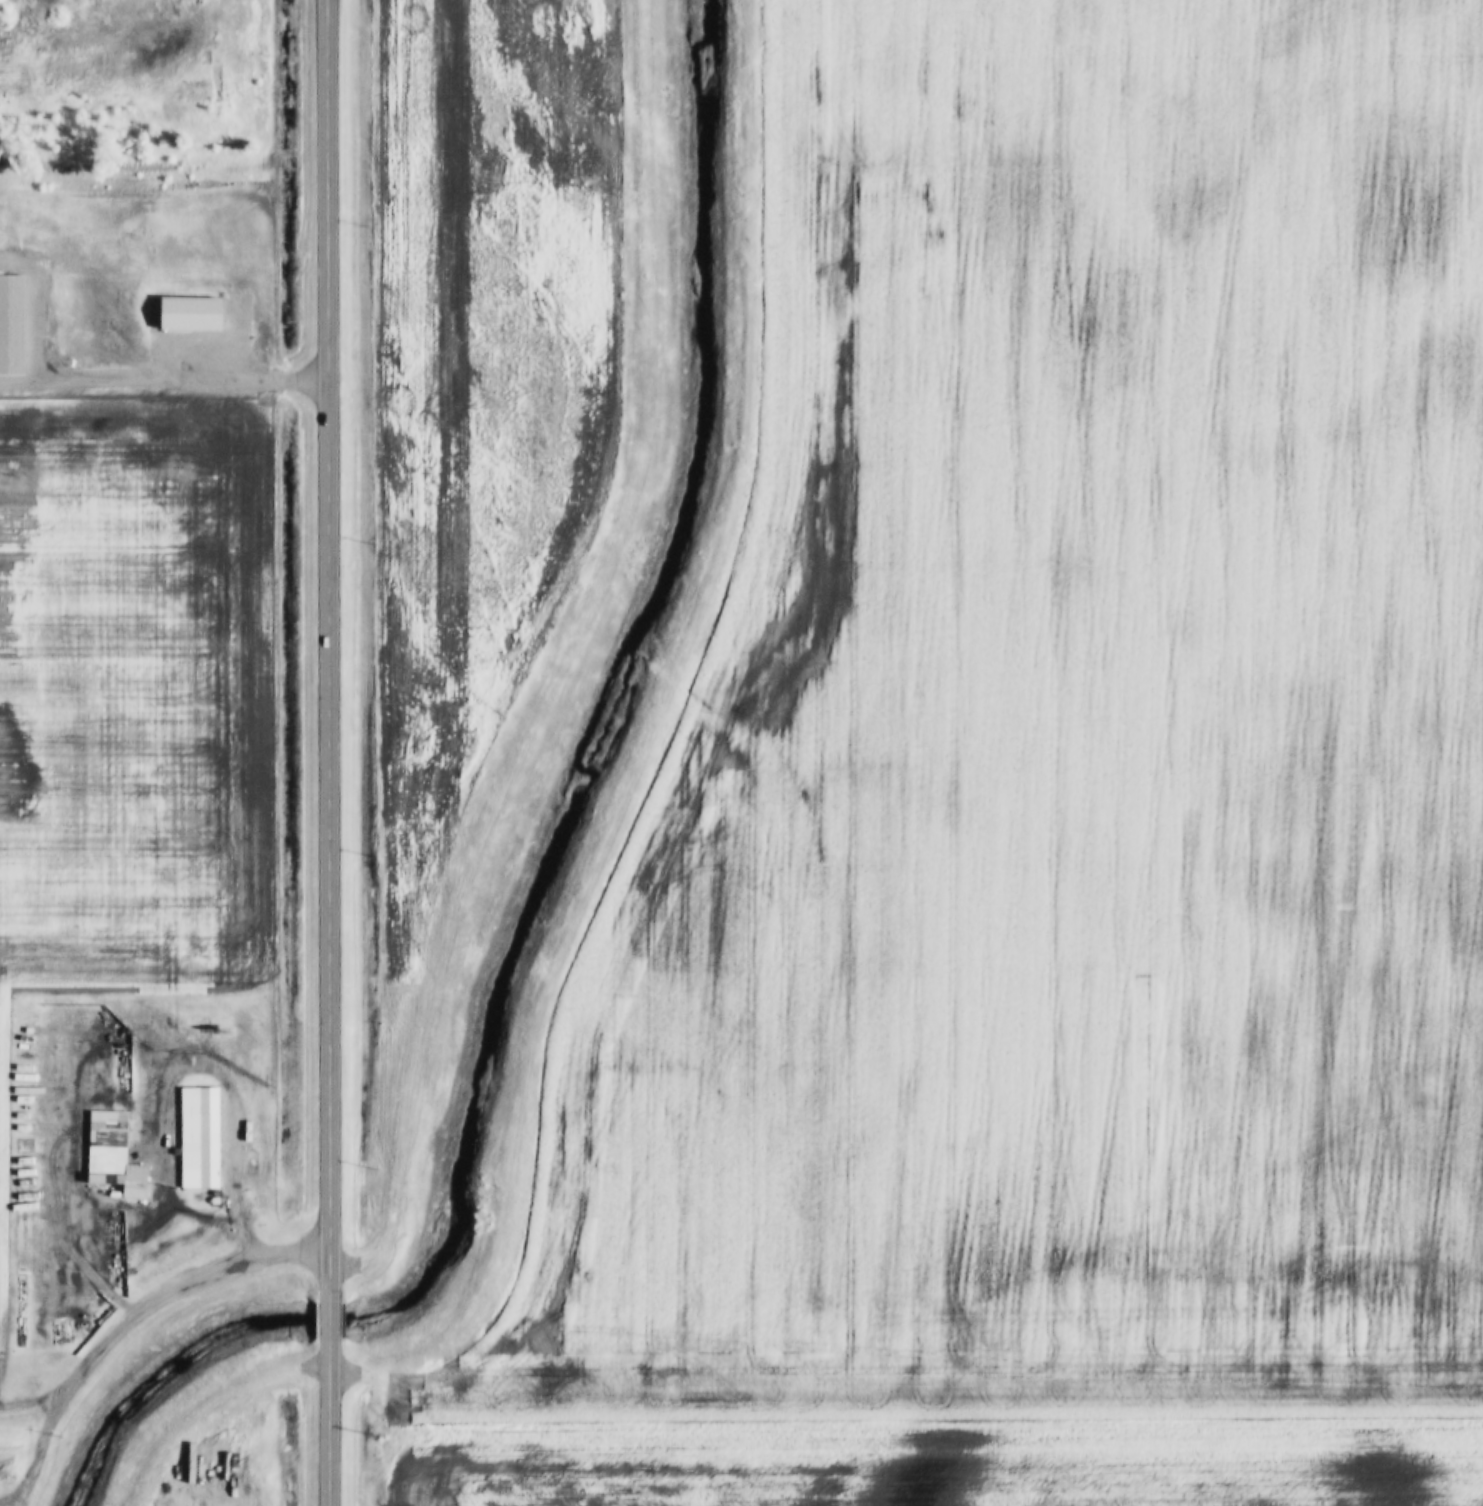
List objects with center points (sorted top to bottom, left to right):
building: (184, 315)
building: (8, 325)
crop: (484, 398)
road: (329, 652)
crop: (136, 689)
crop: (1045, 812)
building: (201, 1135)
building: (251, 1153)
building: (134, 1189)
road: (248, 1234)
road: (336, 1322)
road: (335, 1423)

